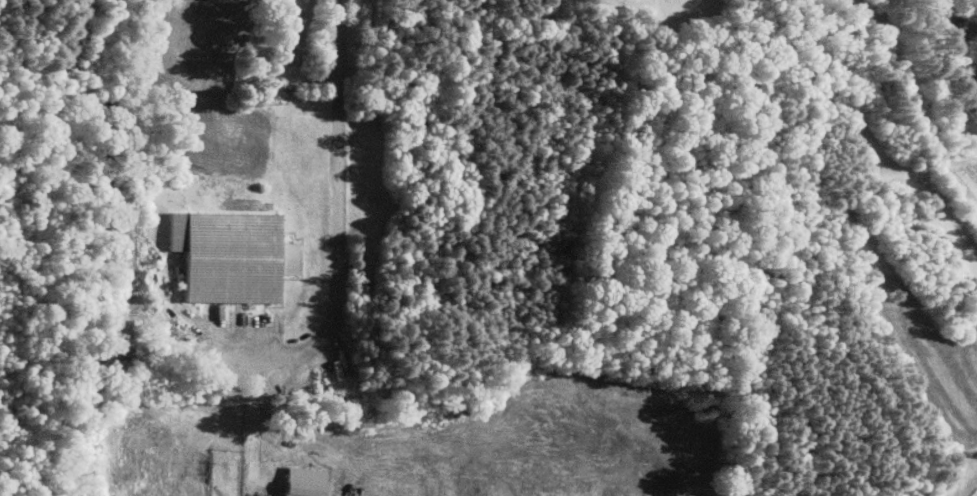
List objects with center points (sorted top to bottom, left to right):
road: (339, 209)
building: (224, 256)
building: (297, 482)

